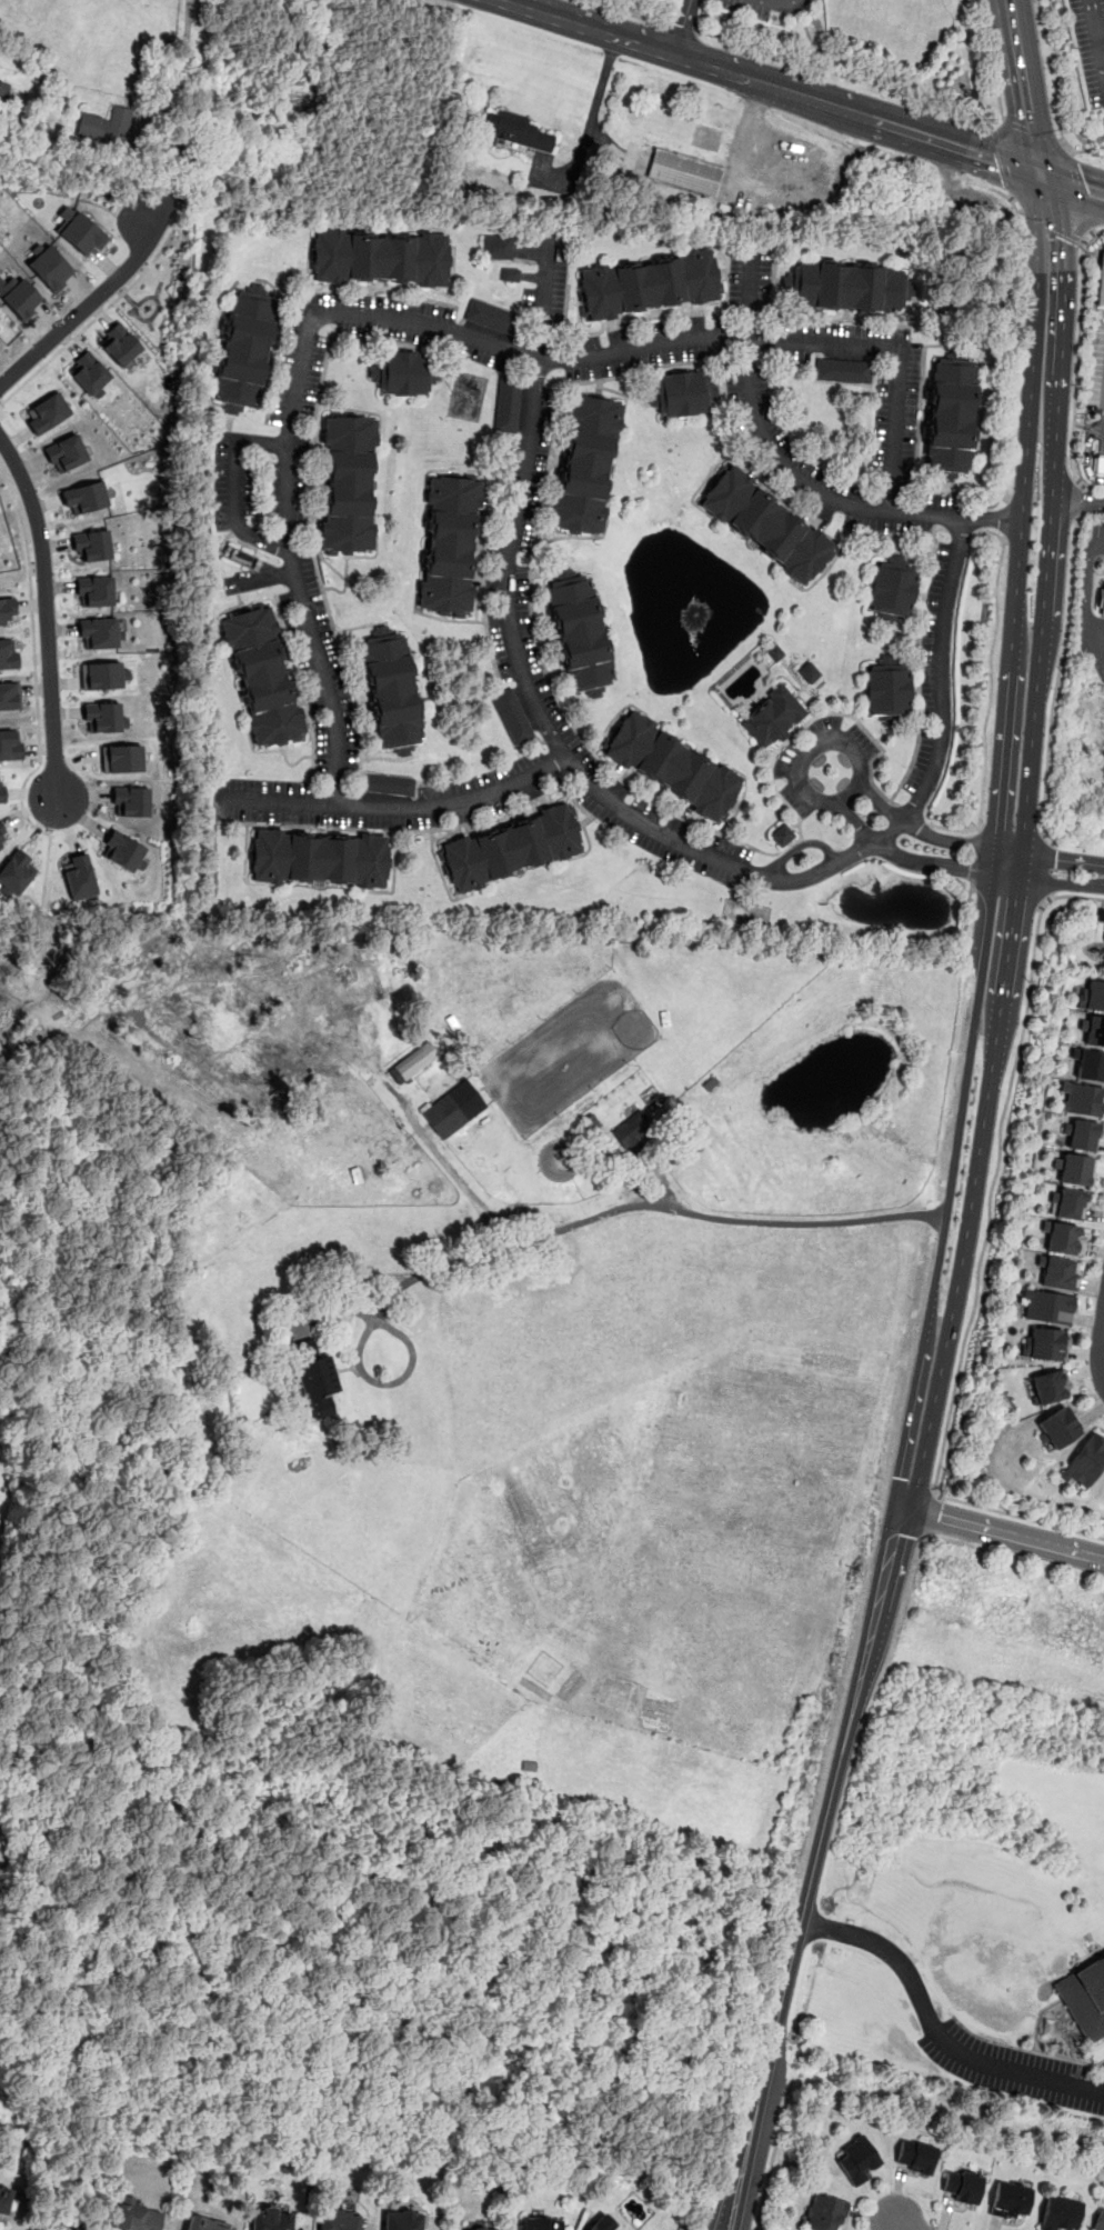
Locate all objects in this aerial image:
road: (781, 1)
road: (629, 12)
road: (678, 26)
road: (680, 28)
road: (1097, 34)
road: (173, 60)
road: (1067, 70)
road: (914, 84)
road: (1013, 87)
road: (773, 88)
building: (3, 90)
road: (1037, 90)
road: (590, 121)
building: (104, 124)
road: (1033, 131)
building: (518, 132)
road: (737, 141)
road: (1084, 150)
road: (1000, 161)
building: (683, 171)
road: (1077, 172)
road: (1078, 187)
road: (1075, 200)
road: (1050, 226)
building: (78, 230)
building: (496, 246)
building: (380, 257)
building: (48, 266)
building: (509, 273)
building: (649, 283)
building: (1102, 283)
gas station: (1102, 283)
building: (845, 286)
building: (18, 296)
road: (83, 309)
road: (101, 311)
building: (491, 317)
road: (440, 329)
building: (0, 330)
road: (1014, 336)
building: (120, 343)
road: (1078, 346)
building: (244, 348)
building: (843, 371)
building: (403, 372)
building: (89, 373)
building: (681, 393)
road: (0, 403)
building: (506, 404)
building: (47, 412)
building: (950, 418)
road: (1095, 437)
building: (66, 452)
road: (1085, 463)
building: (585, 464)
building: (1098, 467)
road: (794, 476)
building: (347, 483)
road: (237, 484)
road: (1090, 486)
building: (84, 497)
road: (1075, 498)
road: (1078, 498)
road: (1005, 518)
building: (765, 524)
building: (449, 543)
building: (91, 544)
road: (1097, 544)
building: (891, 588)
building: (93, 590)
building: (1101, 600)
road: (1085, 607)
building: (6, 608)
road: (46, 619)
building: (99, 631)
building: (579, 632)
building: (774, 651)
building: (8, 654)
road: (33, 659)
road: (1058, 668)
building: (809, 671)
building: (102, 674)
building: (261, 676)
building: (391, 690)
building: (886, 690)
building: (9, 696)
building: (511, 714)
building: (772, 716)
building: (103, 717)
road: (803, 726)
building: (9, 744)
building: (121, 758)
building: (673, 766)
building: (385, 783)
building: (0, 788)
building: (130, 801)
road: (830, 801)
road: (395, 804)
road: (622, 806)
road: (921, 831)
building: (2, 836)
building: (782, 836)
road: (995, 844)
building: (511, 847)
building: (121, 850)
road: (1022, 851)
road: (975, 854)
building: (318, 857)
road: (906, 857)
road: (1044, 866)
road: (46, 867)
road: (1048, 869)
building: (16, 871)
building: (78, 877)
building: (1100, 914)
road: (967, 921)
building: (1091, 993)
building: (1093, 1030)
building: (412, 1062)
building: (1088, 1063)
building: (1081, 1098)
building: (454, 1109)
building: (632, 1131)
building: (1081, 1133)
building: (228, 1163)
building: (1075, 1168)
road: (458, 1179)
building: (1071, 1201)
road: (639, 1206)
building: (1064, 1238)
road: (982, 1251)
building: (1058, 1271)
building: (1045, 1306)
building: (1045, 1343)
road: (1097, 1349)
building: (313, 1374)
road: (381, 1382)
building: (1050, 1386)
building: (1060, 1427)
building: (1085, 1461)
traffic signals: (900, 1509)
road: (1002, 1534)
road: (810, 1869)
road: (885, 1950)
building: (1084, 1997)
road: (1013, 2072)
road: (1100, 2088)
road: (773, 2154)
building: (914, 2156)
building: (856, 2159)
building: (961, 2184)
building: (1008, 2198)
building: (3, 2200)
building: (824, 2212)
building: (1060, 2212)
building: (134, 2214)
building: (270, 2218)
building: (338, 2220)
building: (1098, 2220)
building: (401, 2221)
road: (897, 2221)
building: (204, 2222)
building: (540, 2223)
building: (598, 2226)
building: (482, 2228)

